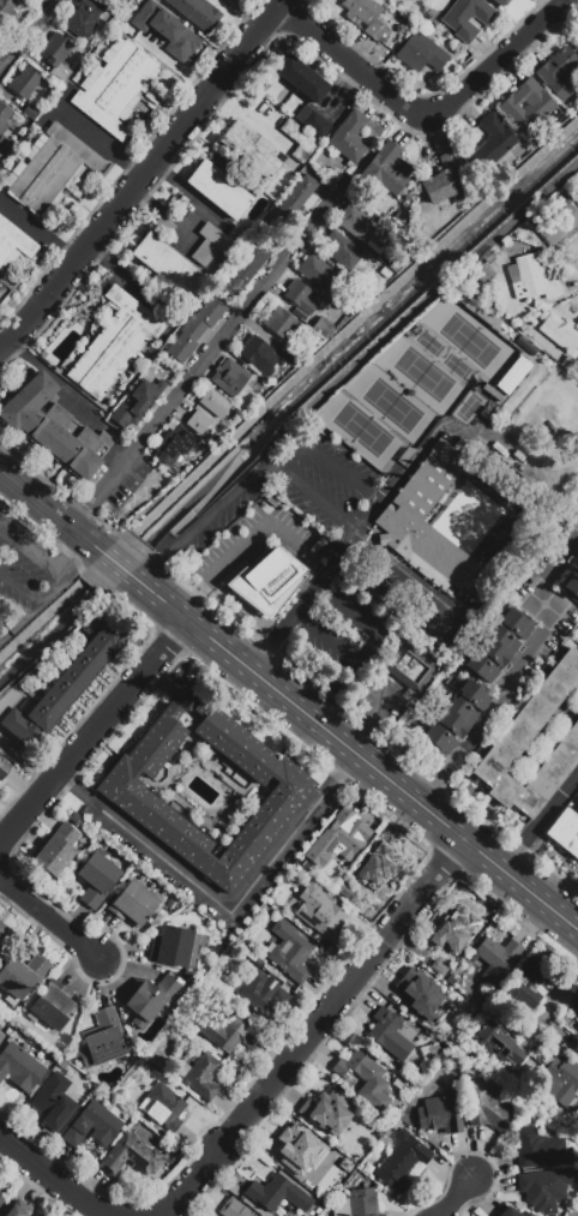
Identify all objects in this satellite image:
building: (501, 2)
building: (116, 4)
building: (7, 10)
building: (198, 12)
building: (431, 12)
building: (363, 16)
building: (84, 17)
building: (466, 17)
building: (167, 30)
road: (25, 34)
building: (420, 52)
building: (58, 56)
building: (560, 72)
building: (301, 78)
building: (28, 83)
building: (116, 86)
road: (219, 92)
building: (535, 107)
building: (31, 112)
road: (423, 113)
building: (312, 121)
building: (4, 128)
building: (348, 138)
building: (299, 139)
road: (101, 142)
building: (492, 143)
building: (249, 149)
building: (50, 169)
building: (385, 172)
road: (144, 175)
building: (447, 182)
building: (219, 191)
road: (188, 193)
building: (297, 197)
road: (167, 214)
road: (213, 215)
building: (401, 217)
building: (559, 224)
building: (163, 226)
building: (361, 227)
road: (38, 230)
building: (216, 242)
building: (14, 245)
building: (347, 254)
building: (488, 258)
building: (163, 262)
building: (243, 270)
building: (318, 272)
road: (126, 277)
building: (534, 277)
building: (300, 295)
building: (462, 298)
building: (281, 322)
building: (416, 325)
building: (522, 327)
building: (195, 329)
building: (324, 329)
building: (411, 331)
building: (560, 333)
building: (114, 345)
building: (257, 354)
building: (293, 357)
road: (206, 361)
building: (568, 363)
road: (53, 377)
building: (229, 378)
park: (414, 387)
building: (145, 390)
building: (213, 402)
building: (464, 403)
building: (475, 405)
building: (127, 413)
building: (198, 423)
building: (54, 425)
building: (175, 442)
road: (282, 455)
building: (147, 465)
parking lot: (294, 491)
road: (384, 495)
road: (217, 510)
road: (52, 511)
building: (444, 521)
building: (315, 535)
road: (257, 537)
road: (31, 551)
road: (341, 551)
road: (77, 561)
parking lot: (24, 564)
road: (115, 565)
road: (151, 571)
building: (570, 579)
building: (270, 581)
road: (20, 586)
road: (157, 599)
road: (192, 600)
building: (487, 600)
road: (32, 611)
parking lot: (366, 617)
road: (287, 622)
building: (0, 624)
road: (447, 624)
building: (496, 643)
road: (366, 648)
road: (519, 669)
building: (411, 670)
building: (67, 683)
building: (453, 717)
road: (368, 720)
road: (94, 733)
building: (513, 743)
building: (4, 767)
road: (383, 777)
road: (59, 778)
road: (336, 780)
road: (367, 792)
building: (155, 817)
road: (402, 820)
road: (540, 825)
building: (565, 832)
building: (338, 838)
building: (58, 850)
building: (378, 862)
building: (95, 879)
road: (495, 895)
building: (132, 904)
road: (227, 909)
building: (320, 912)
road: (54, 918)
road: (534, 924)
building: (460, 926)
building: (5, 936)
building: (171, 946)
building: (290, 952)
building: (496, 957)
building: (23, 974)
building: (524, 986)
building: (261, 993)
building: (417, 993)
building: (151, 999)
road: (556, 1001)
building: (53, 1005)
building: (577, 1017)
road: (311, 1030)
building: (229, 1034)
building: (391, 1034)
building: (1, 1036)
building: (102, 1038)
building: (501, 1043)
building: (431, 1050)
building: (19, 1067)
building: (203, 1077)
building: (366, 1079)
building: (562, 1082)
building: (53, 1102)
building: (484, 1106)
building: (163, 1107)
building: (327, 1113)
building: (440, 1113)
building: (92, 1126)
building: (297, 1148)
building: (540, 1148)
building: (131, 1156)
building: (402, 1161)
road: (64, 1182)
building: (544, 1187)
building: (279, 1194)
road: (459, 1194)
building: (1, 1202)
building: (360, 1203)
building: (18, 1209)
building: (235, 1209)
building: (508, 1212)
building: (526, 1215)

